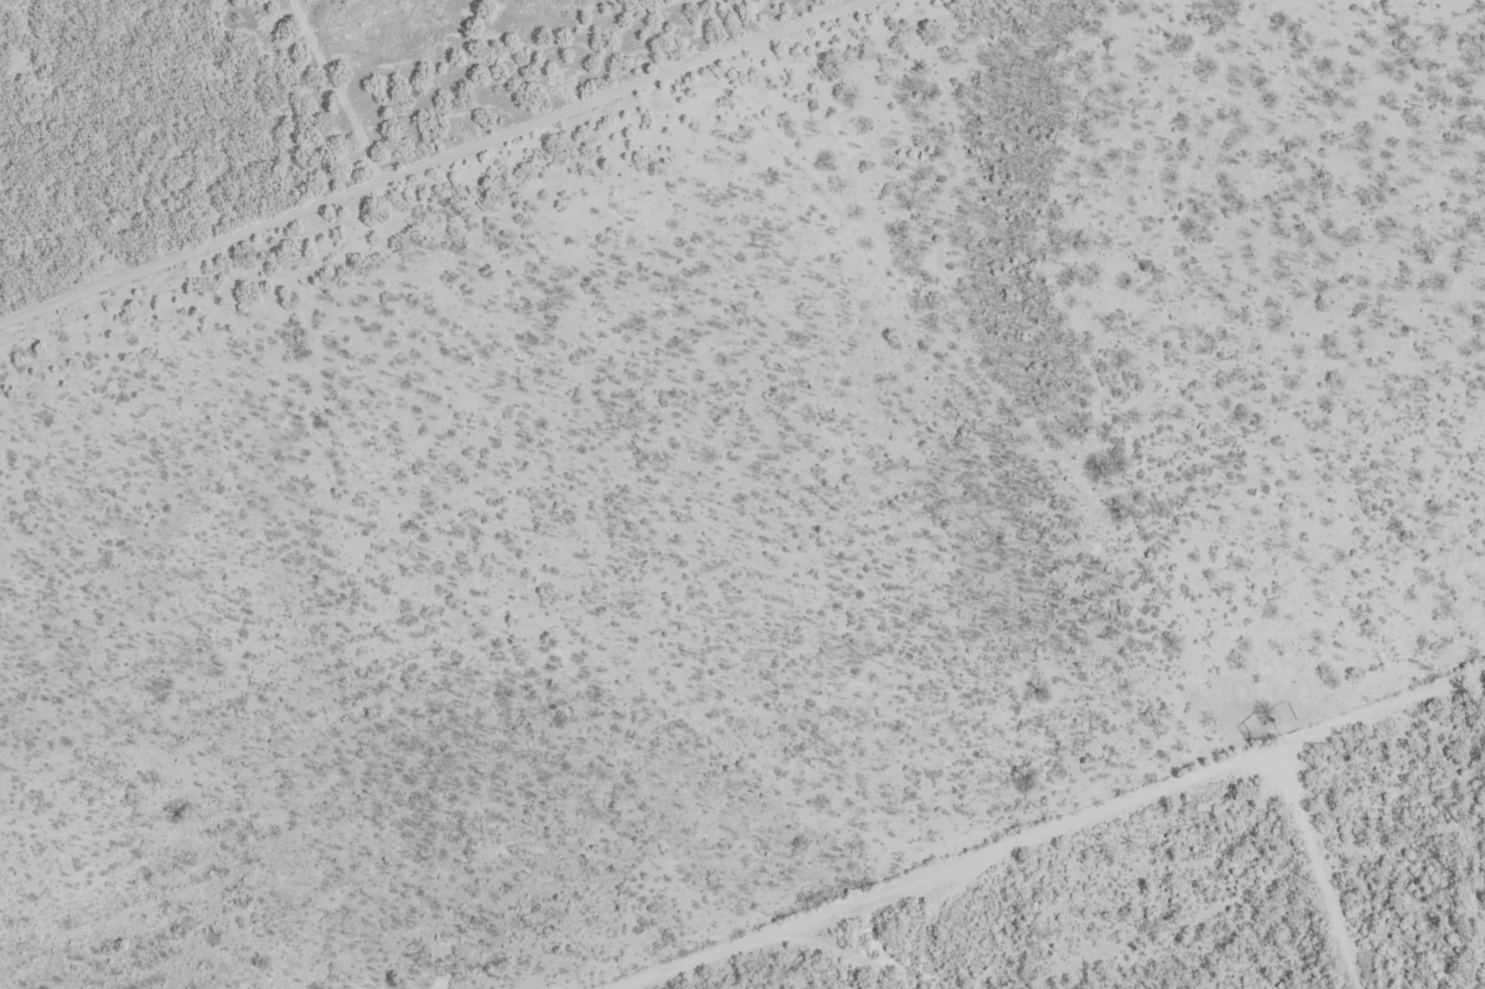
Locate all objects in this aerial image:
road: (1047, 828)

